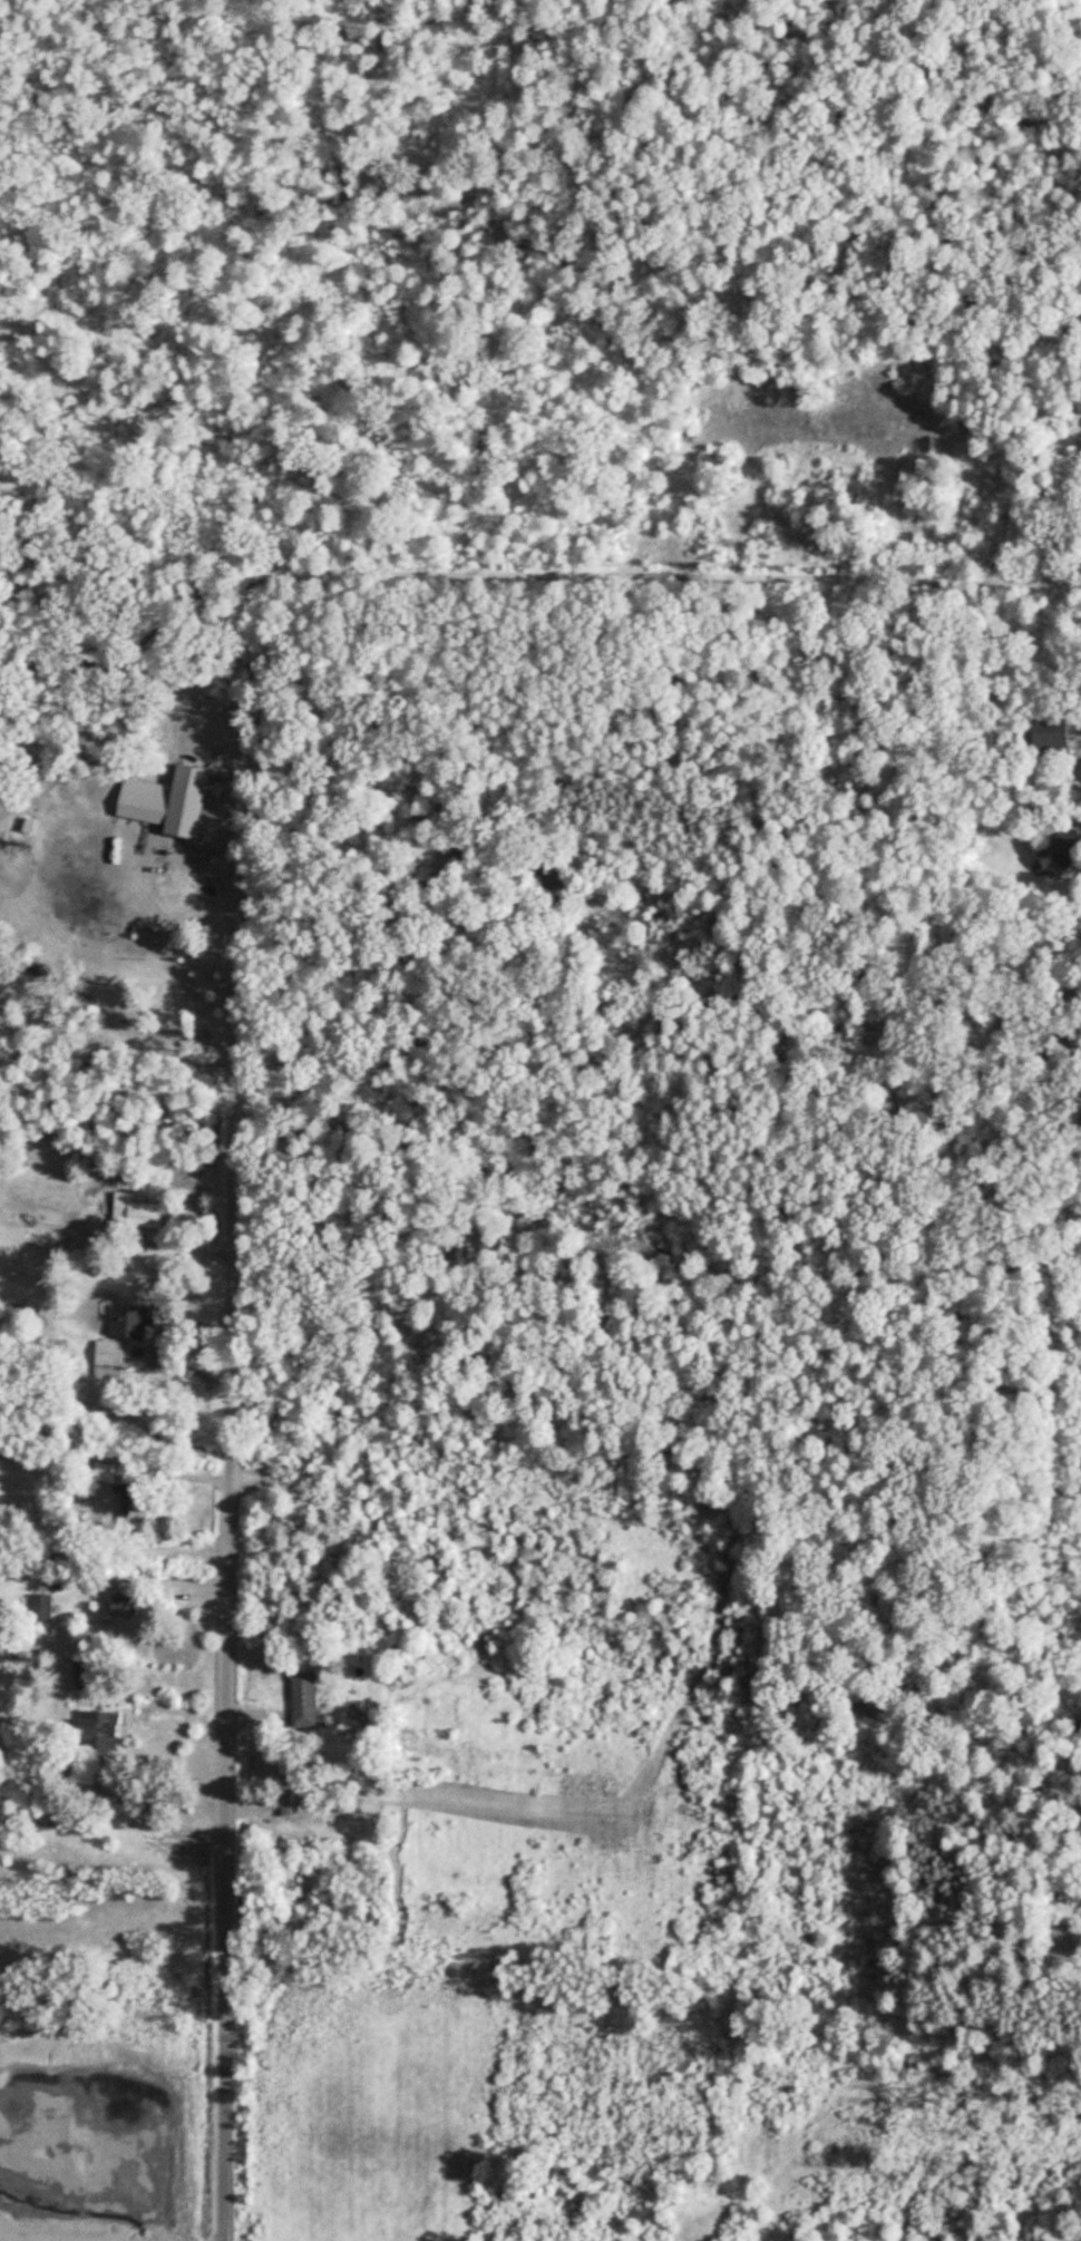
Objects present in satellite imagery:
road: (659, 583)
building: (1056, 737)
building: (153, 809)
building: (69, 813)
building: (1064, 857)
building: (86, 870)
road: (232, 993)
building: (143, 1217)
building: (137, 1323)
building: (113, 1362)
building: (111, 1471)
building: (132, 1607)
building: (46, 1609)
building: (92, 1674)
building: (310, 1699)
building: (106, 1733)
building: (292, 1795)
road: (165, 1799)
road: (227, 1821)

